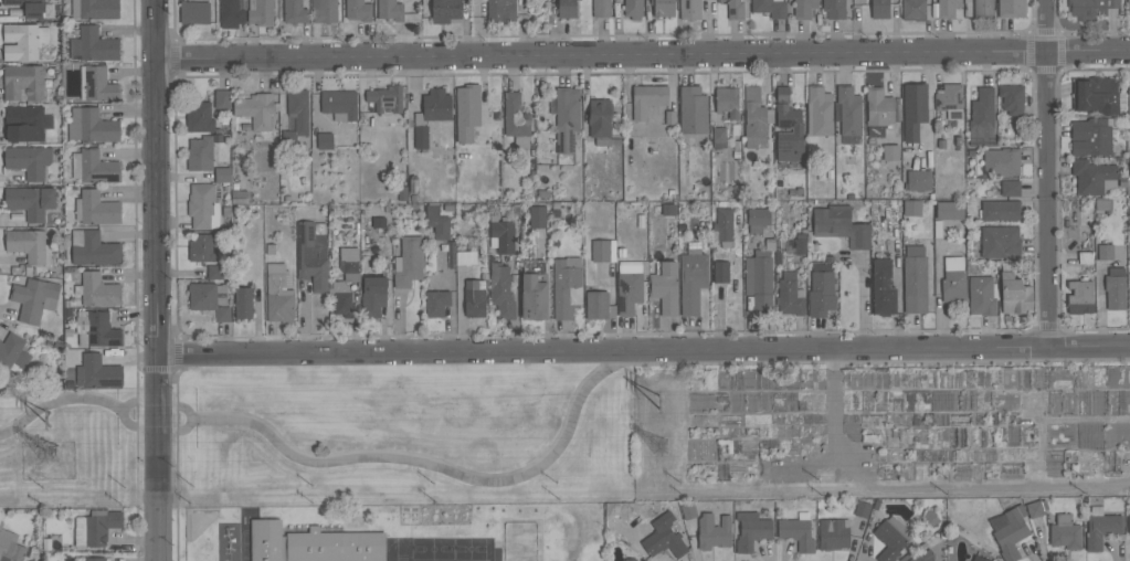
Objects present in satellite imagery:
building: (1128, 1)
building: (30, 7)
building: (1129, 7)
building: (601, 8)
building: (633, 8)
building: (663, 8)
building: (737, 8)
building: (770, 8)
building: (803, 8)
building: (834, 8)
building: (947, 8)
building: (1012, 8)
building: (1090, 8)
building: (95, 9)
building: (567, 9)
building: (879, 9)
building: (983, 9)
building: (358, 10)
building: (390, 10)
building: (445, 10)
building: (500, 10)
building: (689, 10)
building: (913, 10)
building: (295, 11)
building: (324, 11)
building: (194, 12)
building: (231, 13)
building: (23, 41)
building: (92, 44)
road: (644, 53)
building: (23, 81)
building: (96, 84)
building: (1095, 94)
building: (222, 98)
building: (386, 98)
building: (1012, 98)
building: (647, 99)
building: (727, 100)
building: (949, 100)
building: (339, 104)
building: (436, 105)
building: (1129, 107)
building: (255, 109)
building: (298, 109)
building: (693, 110)
building: (819, 110)
building: (849, 110)
building: (913, 110)
building: (467, 112)
building: (878, 112)
building: (982, 114)
building: (515, 116)
building: (199, 117)
building: (567, 118)
building: (754, 118)
building: (601, 121)
building: (23, 123)
building: (91, 126)
building: (788, 127)
building: (421, 136)
building: (1091, 136)
building: (719, 137)
building: (325, 140)
building: (890, 152)
building: (200, 154)
building: (29, 160)
building: (1001, 162)
building: (94, 167)
road: (1046, 172)
building: (222, 173)
building: (1094, 177)
building: (919, 180)
building: (1010, 188)
building: (31, 201)
building: (1102, 202)
building: (203, 205)
building: (96, 208)
building: (912, 208)
building: (668, 209)
building: (949, 210)
building: (1000, 210)
building: (537, 216)
building: (757, 219)
building: (437, 222)
building: (839, 225)
building: (722, 226)
building: (500, 234)
building: (1000, 241)
building: (800, 244)
building: (31, 246)
building: (201, 247)
building: (93, 248)
building: (603, 251)
building: (1105, 252)
building: (313, 256)
building: (1085, 257)
building: (408, 262)
building: (349, 264)
building: (214, 272)
building: (721, 272)
road: (156, 279)
building: (915, 279)
building: (953, 279)
road: (135, 280)
building: (691, 280)
building: (759, 280)
building: (566, 286)
building: (629, 286)
building: (665, 286)
building: (883, 288)
building: (1115, 288)
building: (96, 289)
building: (501, 289)
building: (821, 290)
building: (278, 294)
building: (373, 295)
building: (790, 295)
building: (982, 295)
building: (1014, 295)
building: (534, 296)
building: (474, 297)
building: (1079, 297)
building: (34, 298)
building: (341, 298)
building: (207, 299)
building: (243, 301)
building: (436, 303)
building: (596, 305)
building: (95, 328)
road: (642, 348)
building: (13, 352)
road: (865, 362)
road: (171, 369)
building: (97, 372)
road: (68, 399)
power tower: (663, 401)
road: (126, 402)
road: (191, 417)
power tower: (53, 421)
park: (328, 437)
power tower: (655, 451)
power tower: (50, 459)
road: (176, 464)
road: (426, 464)
road: (923, 485)
building: (1036, 507)
building: (862, 508)
building: (688, 510)
building: (1129, 523)
building: (95, 527)
building: (1101, 527)
building: (751, 530)
building: (1008, 530)
building: (714, 531)
building: (1065, 531)
building: (796, 532)
building: (833, 533)
building: (663, 537)
building: (891, 538)
building: (265, 540)
building: (10, 546)
building: (335, 547)
building: (922, 555)
building: (95, 559)
building: (630, 559)
building: (979, 559)

